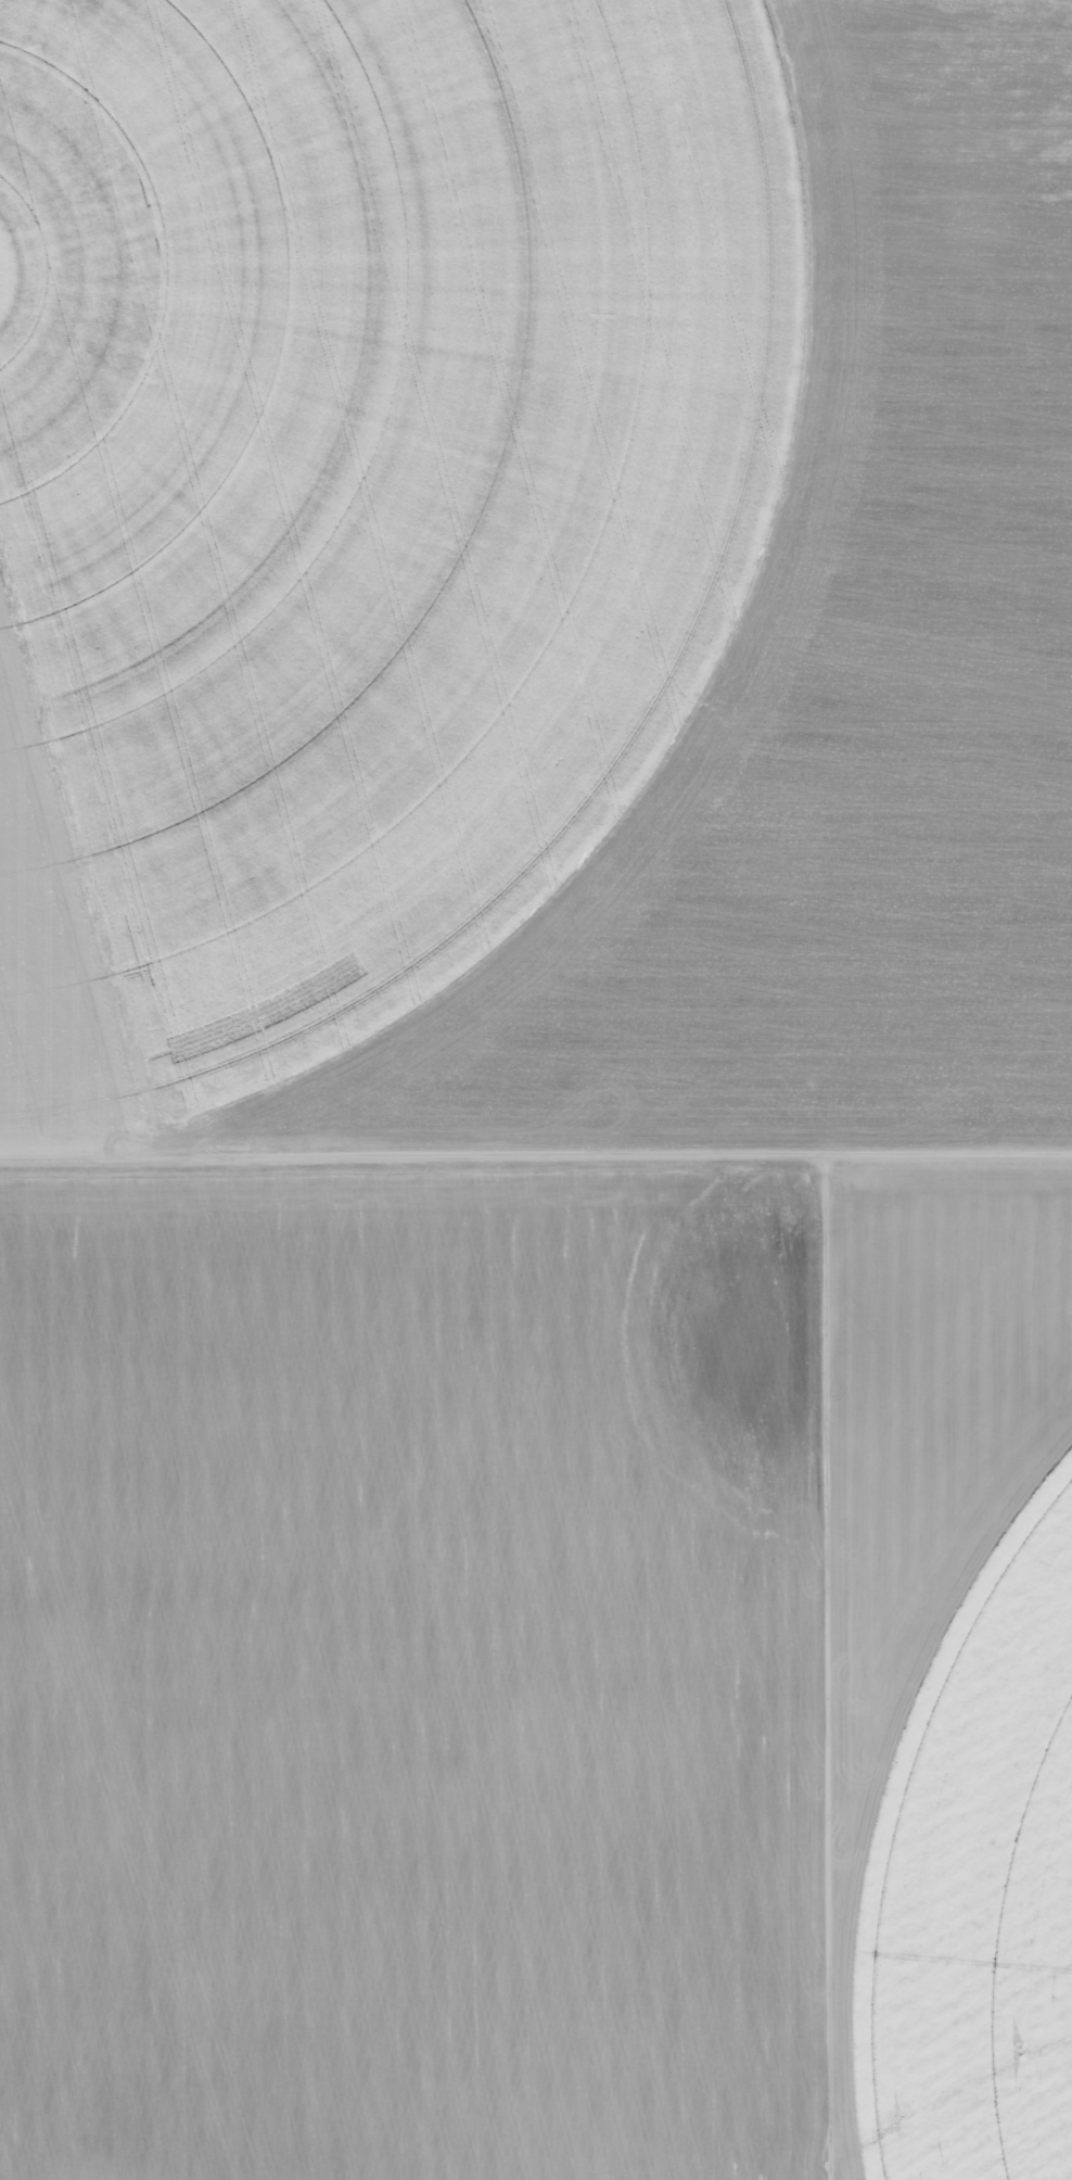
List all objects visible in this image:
road: (536, 1177)
road: (815, 1677)

